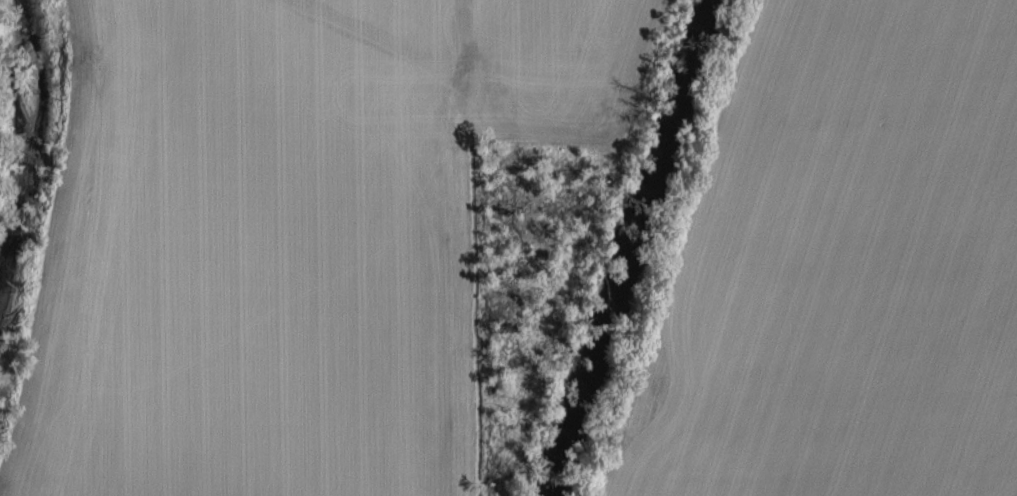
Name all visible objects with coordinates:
river: (6, 98)

